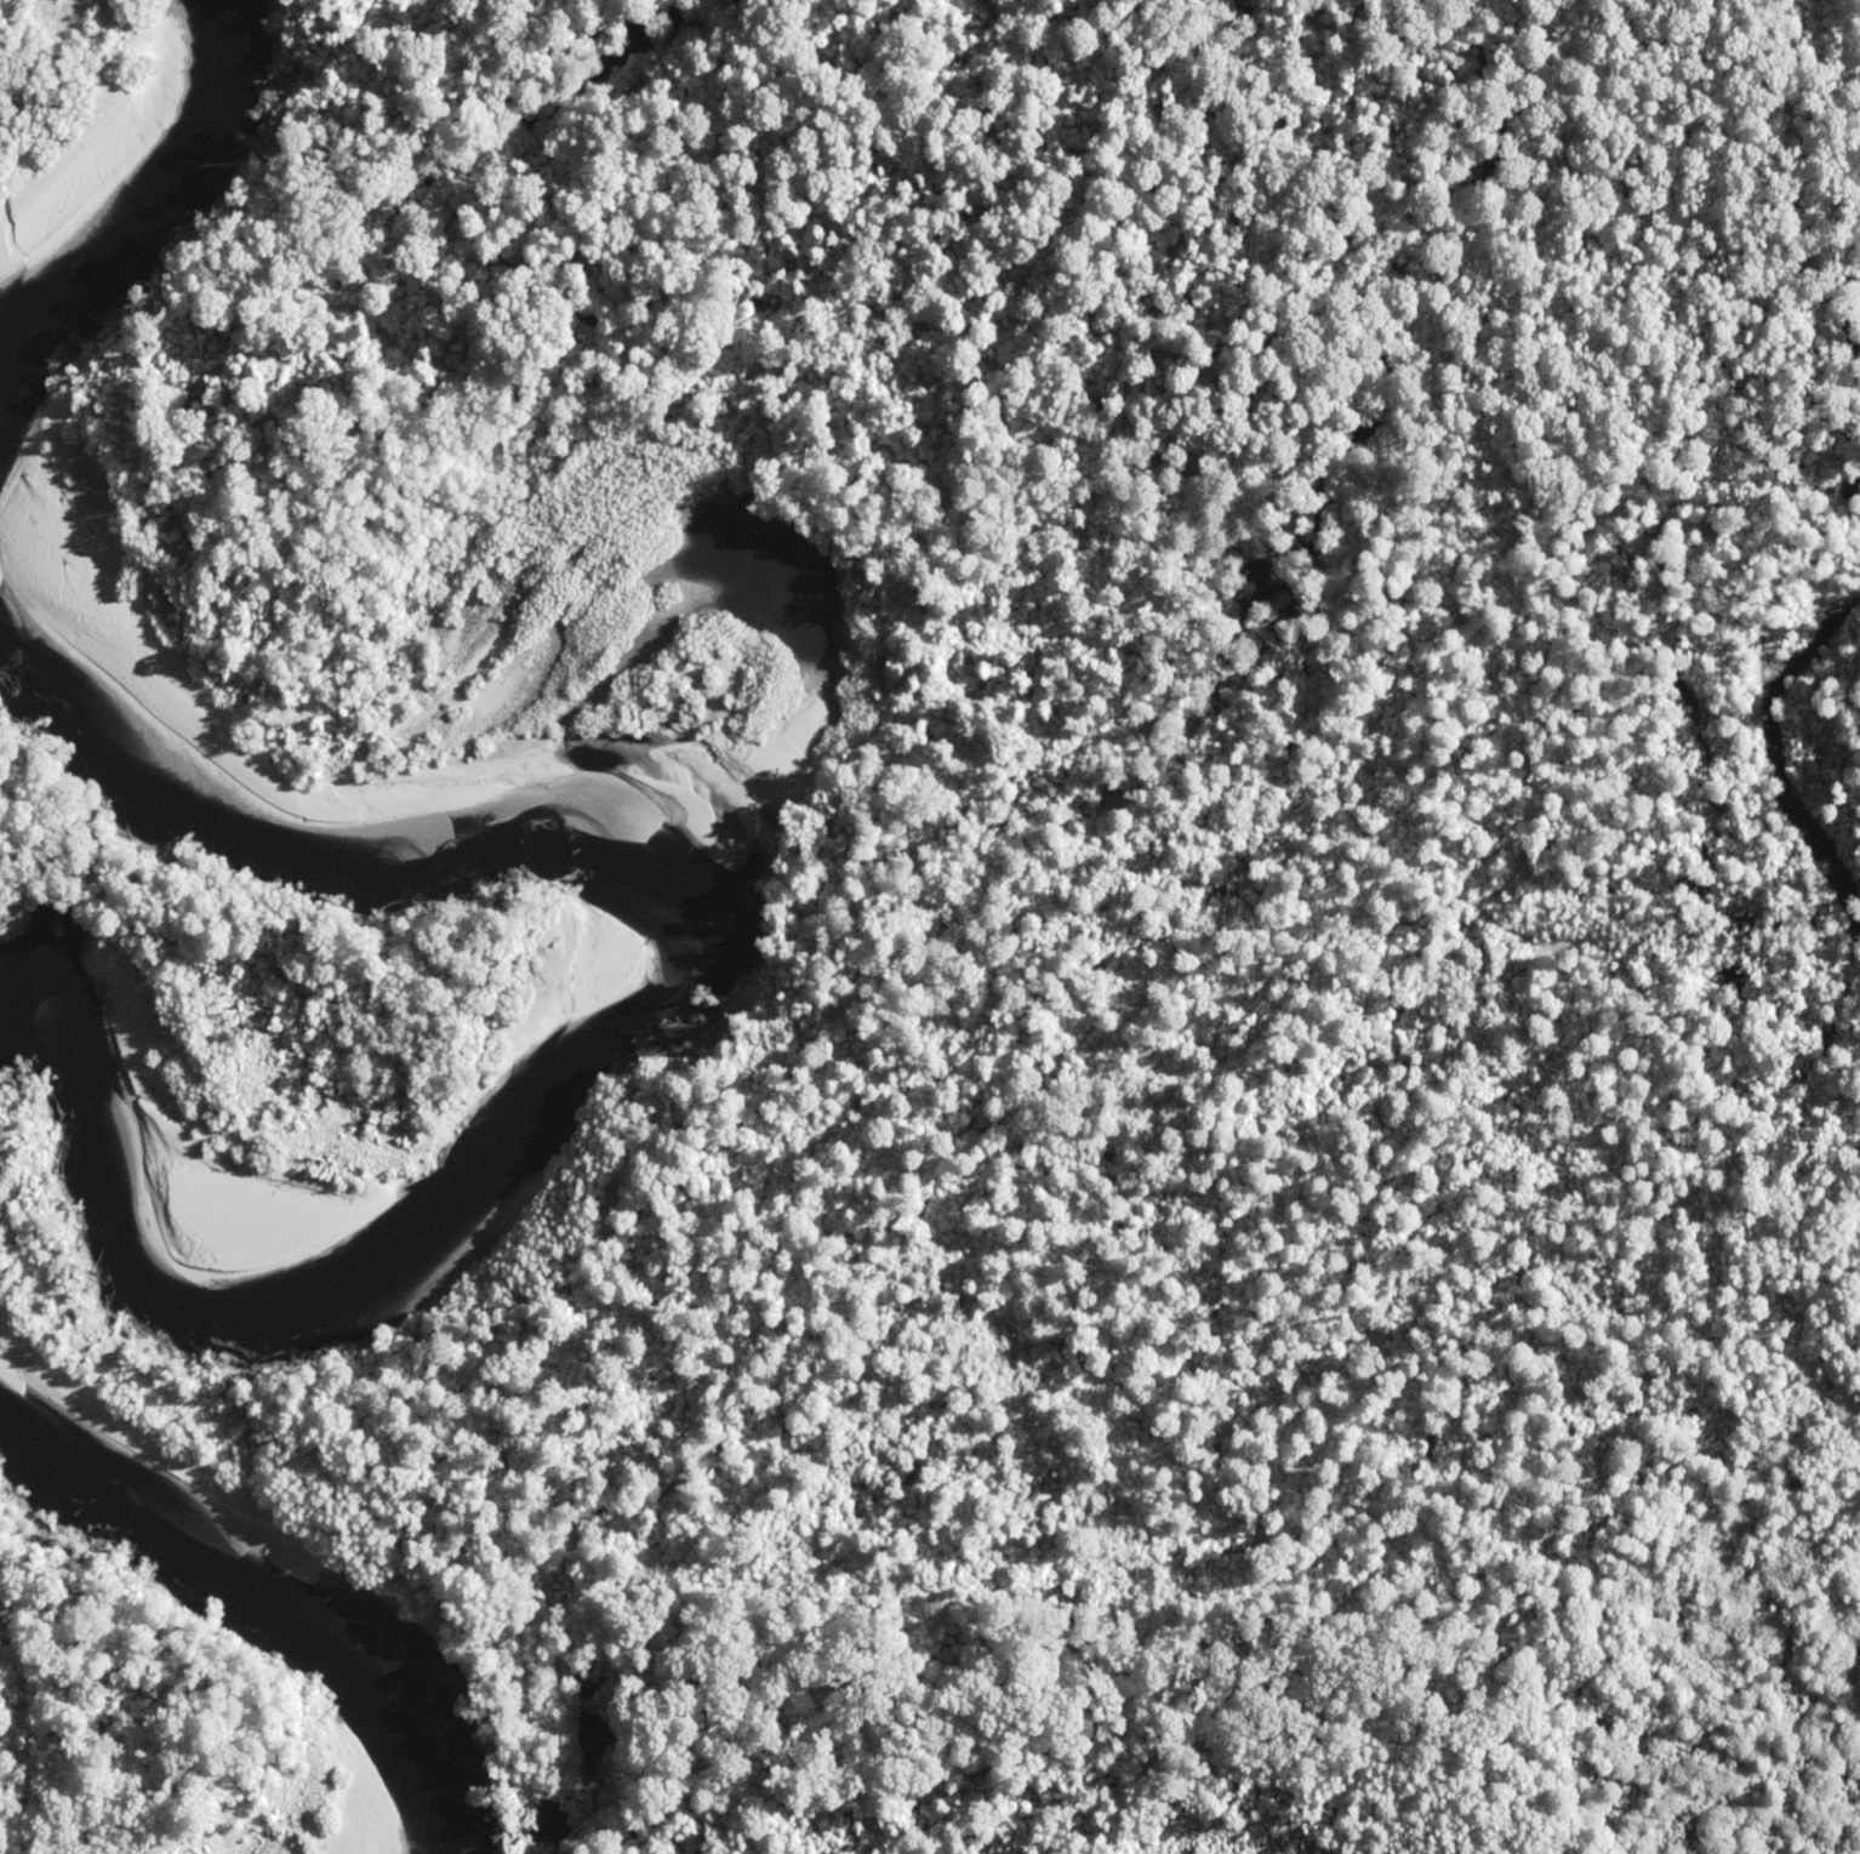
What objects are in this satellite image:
river: (597, 531)
river: (291, 1522)

